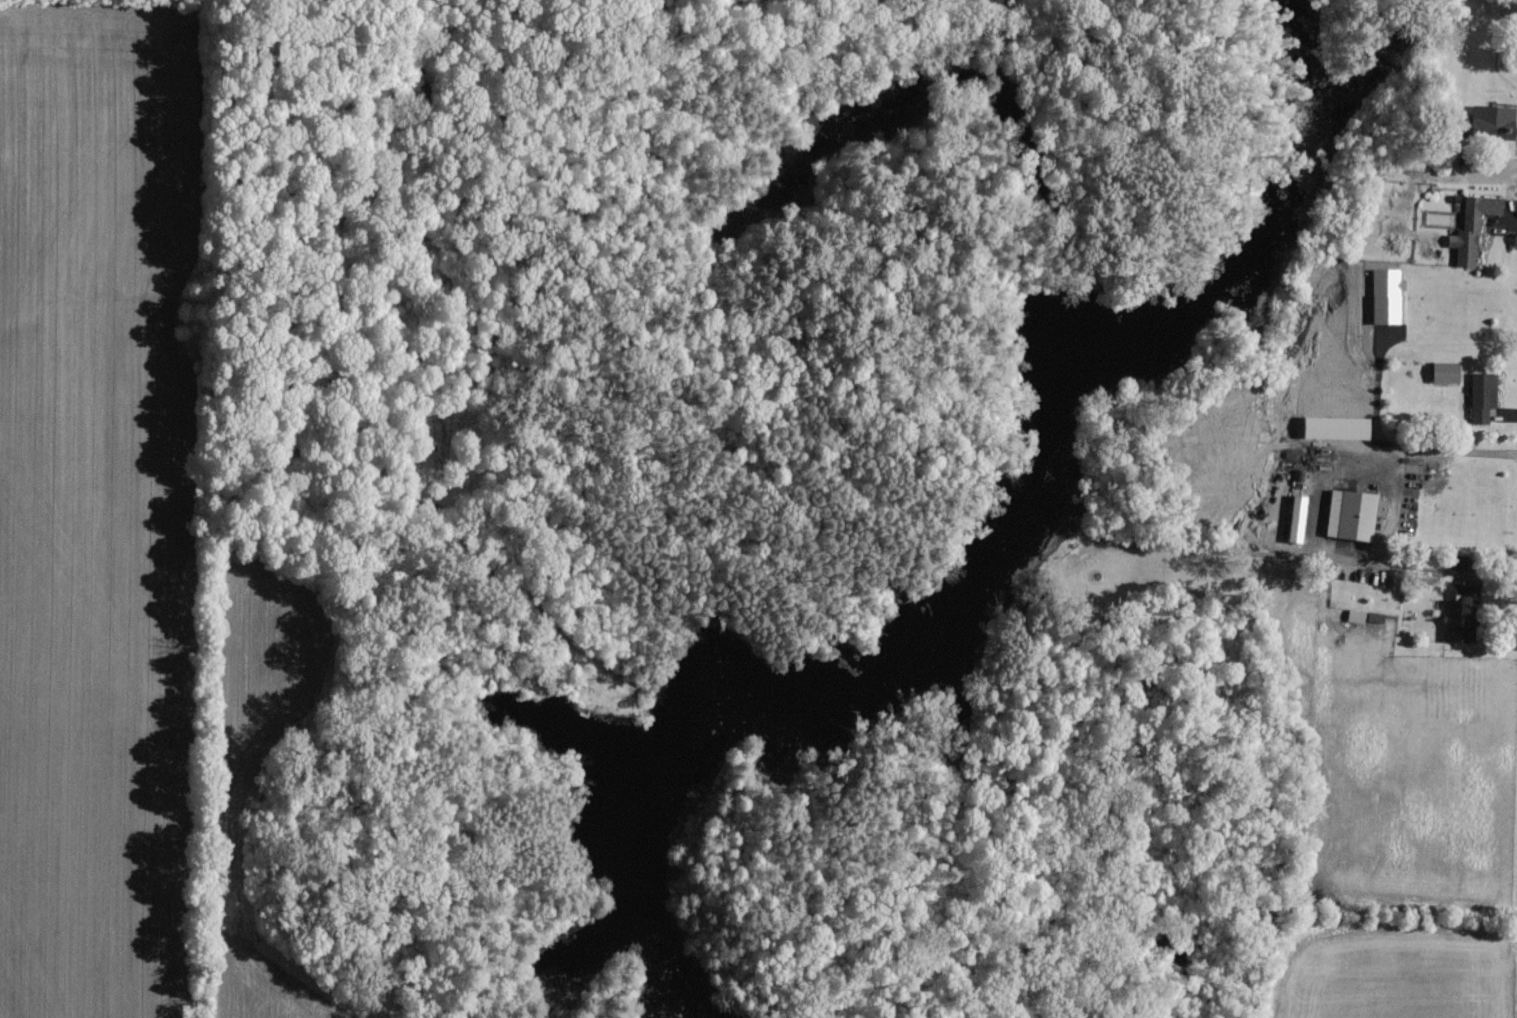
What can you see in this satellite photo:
building: (1494, 114)
building: (1475, 221)
building: (1385, 295)
building: (1446, 367)
building: (1489, 394)
building: (1336, 427)
road: (1440, 452)
building: (1353, 509)
building: (1296, 518)
road: (1367, 558)
building: (1456, 619)

